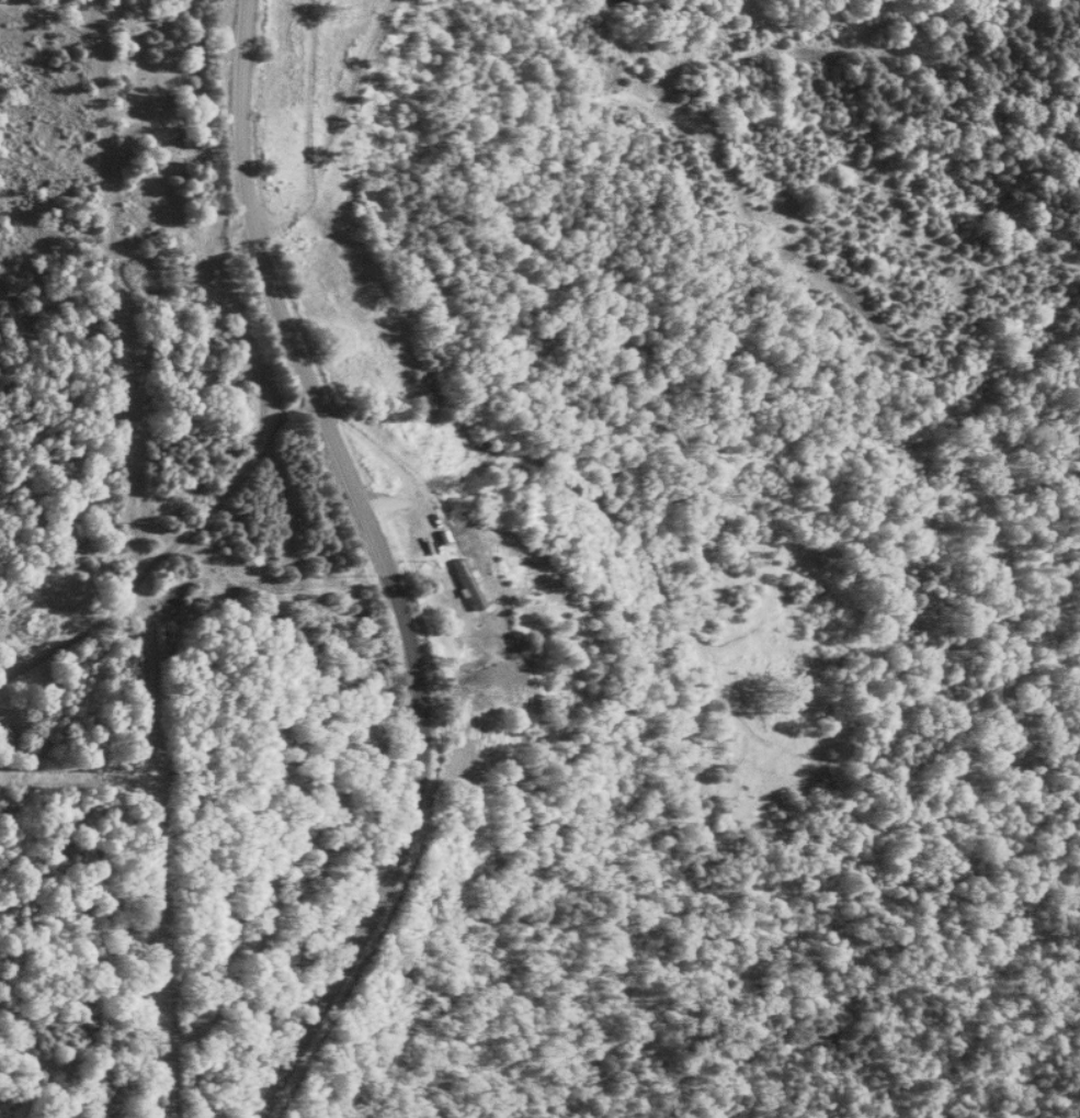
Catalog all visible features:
road: (227, 493)
road: (419, 505)
road: (383, 565)
building: (470, 583)

